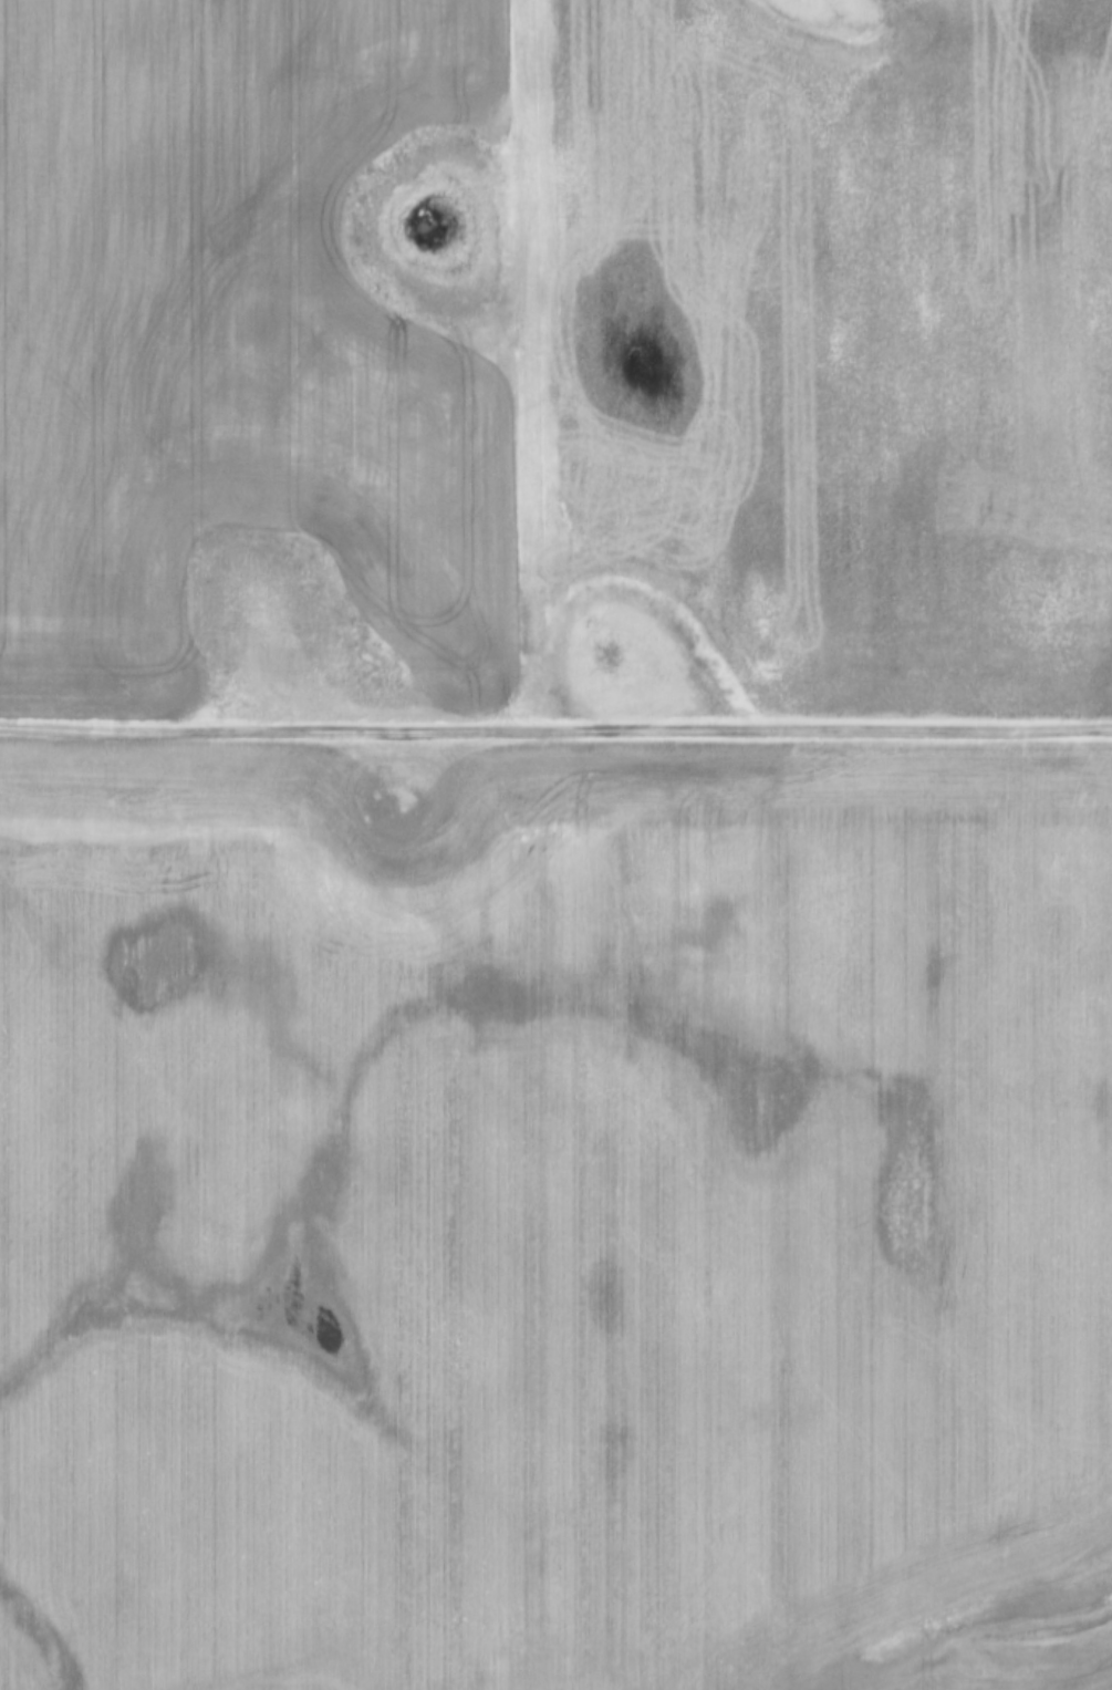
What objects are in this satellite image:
road: (555, 732)

